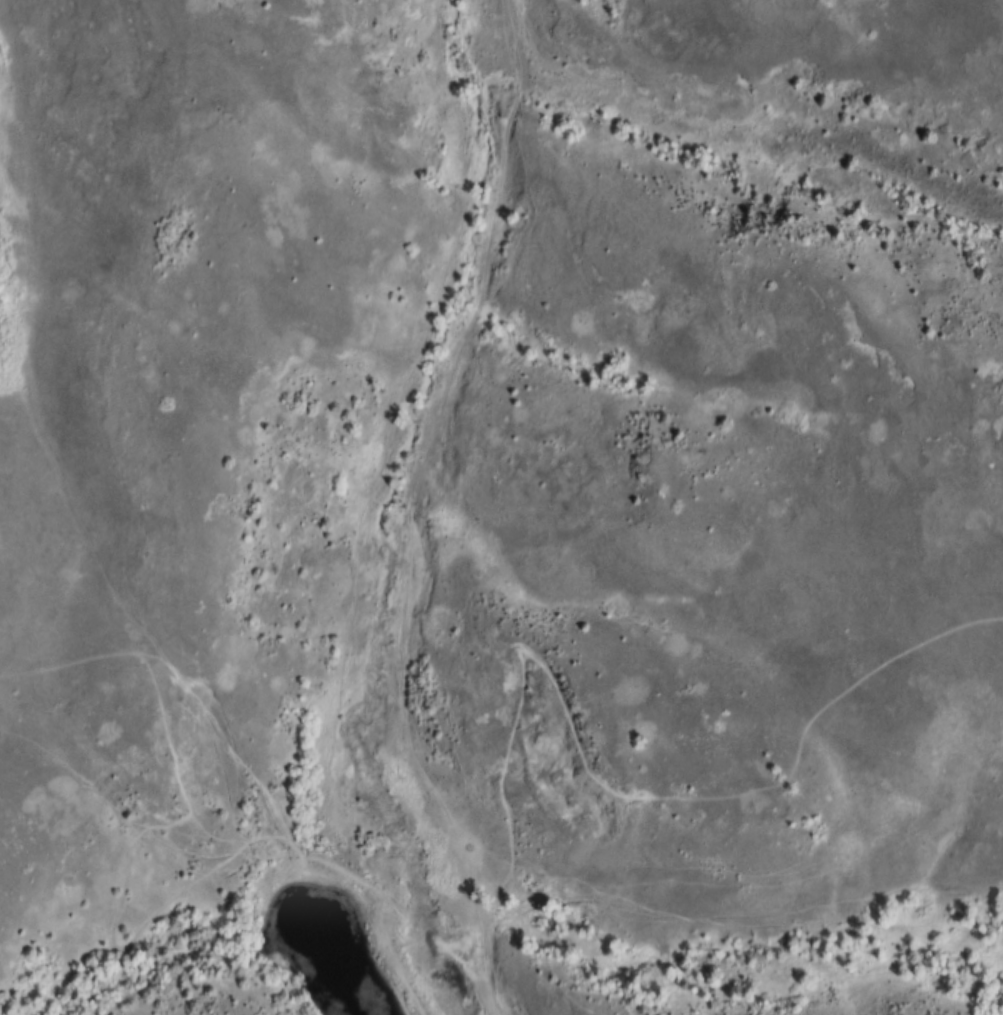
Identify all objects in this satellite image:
road: (420, 507)
road: (463, 935)

